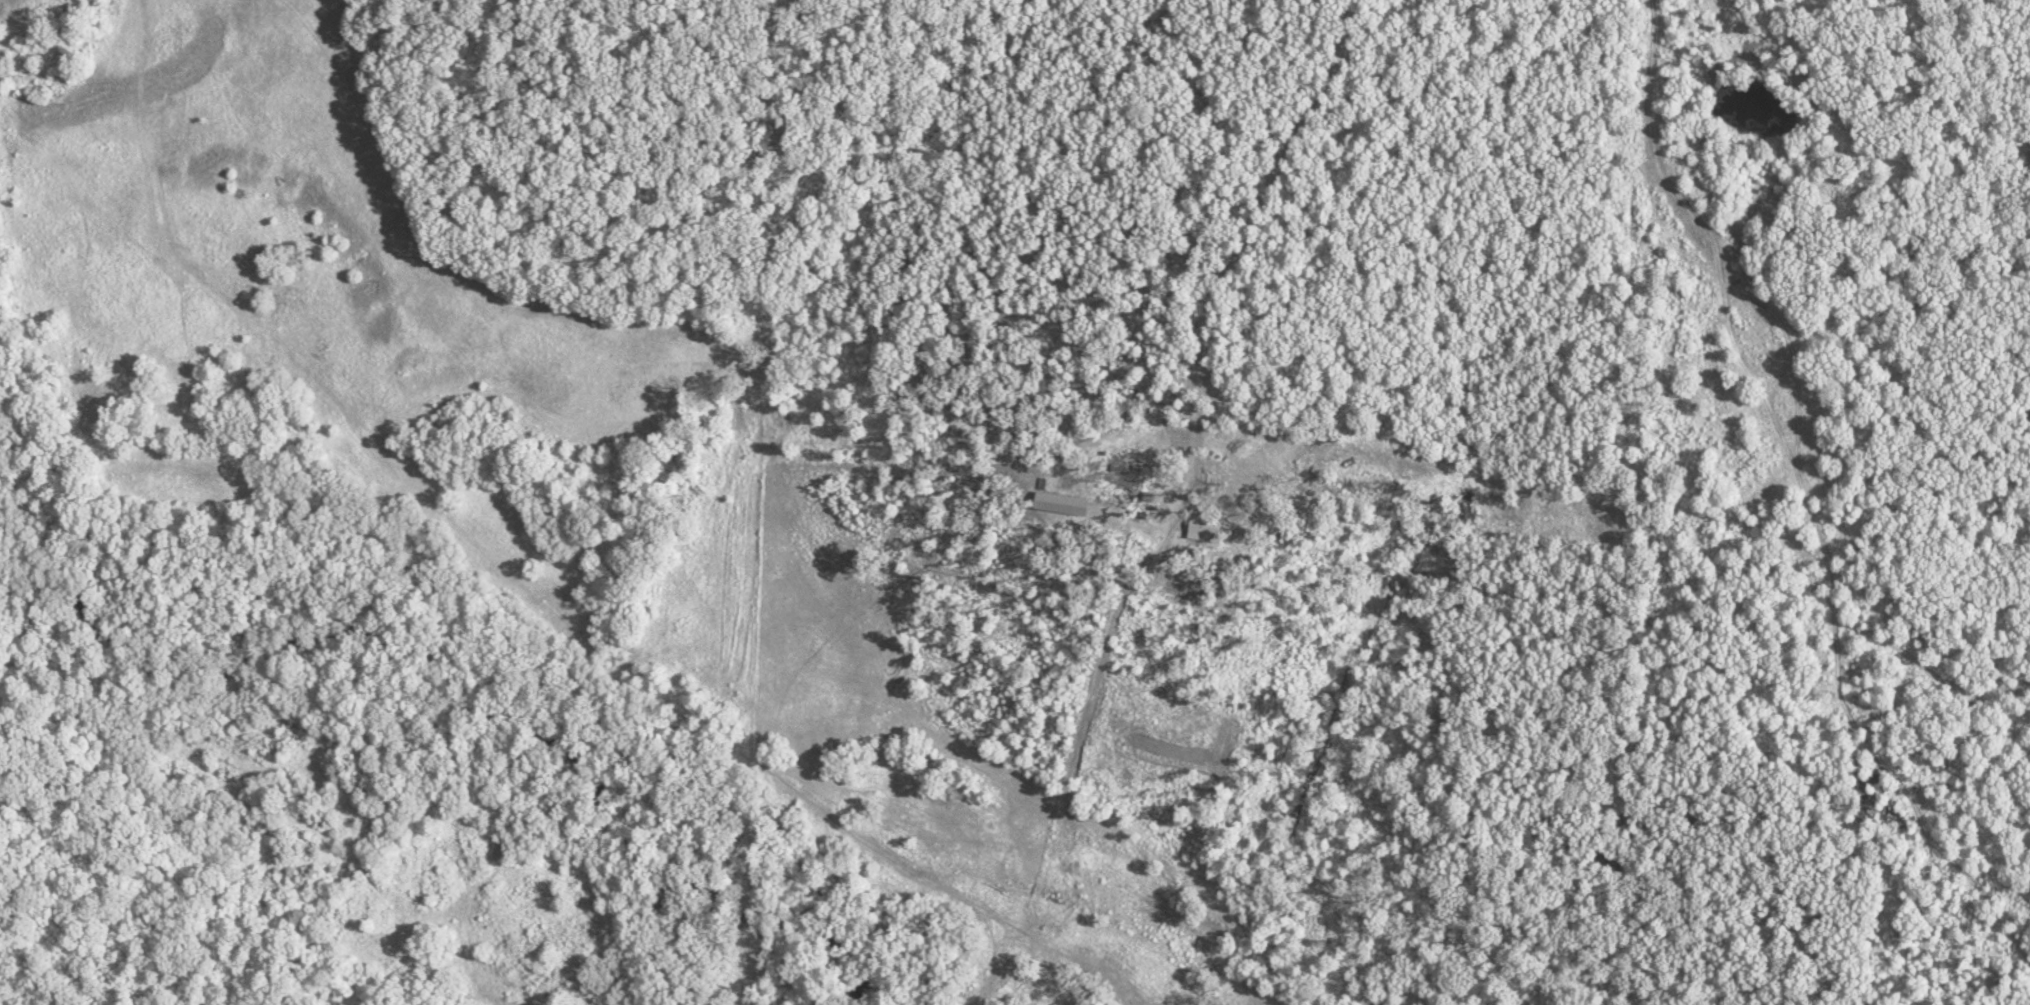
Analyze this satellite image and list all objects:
road: (1771, 408)

